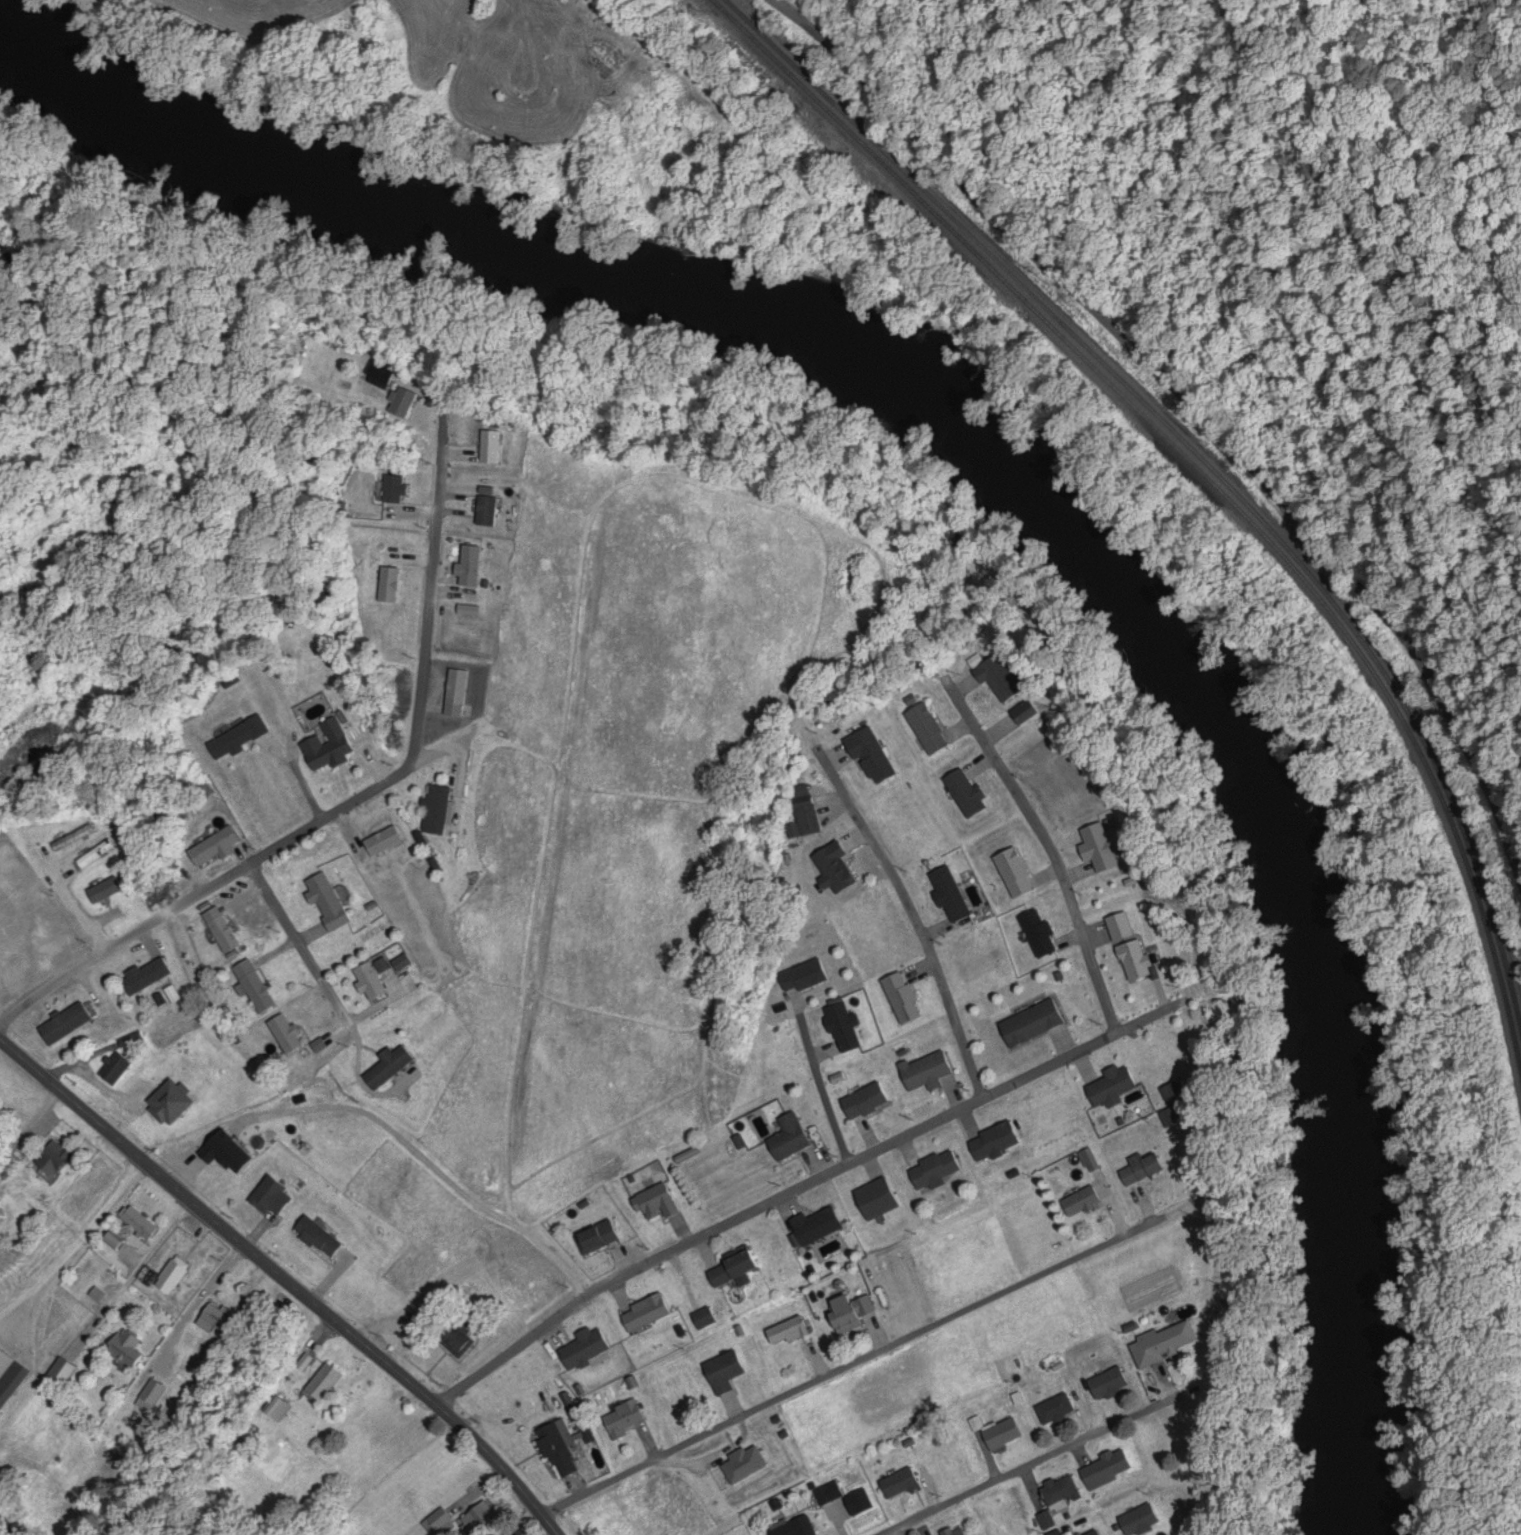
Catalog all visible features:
road: (1144, 364)
building: (406, 403)
building: (493, 446)
railway: (1204, 460)
river: (1030, 486)
railway: (1234, 506)
building: (490, 510)
building: (474, 565)
building: (1007, 678)
building: (459, 691)
building: (931, 730)
building: (330, 745)
building: (970, 794)
road: (361, 798)
building: (440, 809)
building: (386, 840)
building: (83, 846)
building: (217, 847)
building: (1102, 847)
building: (1017, 873)
building: (108, 889)
building: (953, 895)
building: (331, 901)
building: (1119, 927)
building: (223, 929)
building: (1041, 933)
road: (306, 942)
building: (149, 976)
building: (373, 982)
building: (257, 987)
building: (905, 999)
building: (74, 1021)
building: (1036, 1024)
building: (290, 1035)
building: (392, 1066)
building: (118, 1068)
building: (929, 1072)
building: (1115, 1085)
building: (1174, 1092)
building: (869, 1101)
road: (30, 1128)
building: (794, 1136)
building: (997, 1141)
building: (50, 1161)
building: (1147, 1168)
building: (938, 1170)
road: (799, 1189)
building: (276, 1197)
building: (882, 1197)
building: (1085, 1200)
building: (660, 1203)
building: (0, 1217)
building: (143, 1223)
building: (821, 1225)
building: (322, 1236)
building: (600, 1238)
building: (740, 1265)
building: (176, 1277)
road: (286, 1280)
building: (648, 1312)
building: (850, 1312)
building: (709, 1316)
building: (222, 1320)
building: (792, 1331)
building: (464, 1342)
building: (1167, 1343)
building: (587, 1347)
building: (131, 1349)
road: (856, 1363)
building: (65, 1371)
building: (727, 1371)
building: (9, 1372)
road: (328, 1374)
building: (328, 1380)
building: (1112, 1383)
building: (152, 1395)
building: (1059, 1411)
building: (627, 1418)
building: (1006, 1434)
building: (562, 1449)
building: (744, 1467)
road: (1029, 1467)
building: (1110, 1469)
building: (908, 1482)
building: (1063, 1490)
building: (480, 1519)
building: (1144, 1520)
building: (799, 1527)
road: (903, 1531)
building: (962, 1532)
building: (1097, 1533)

